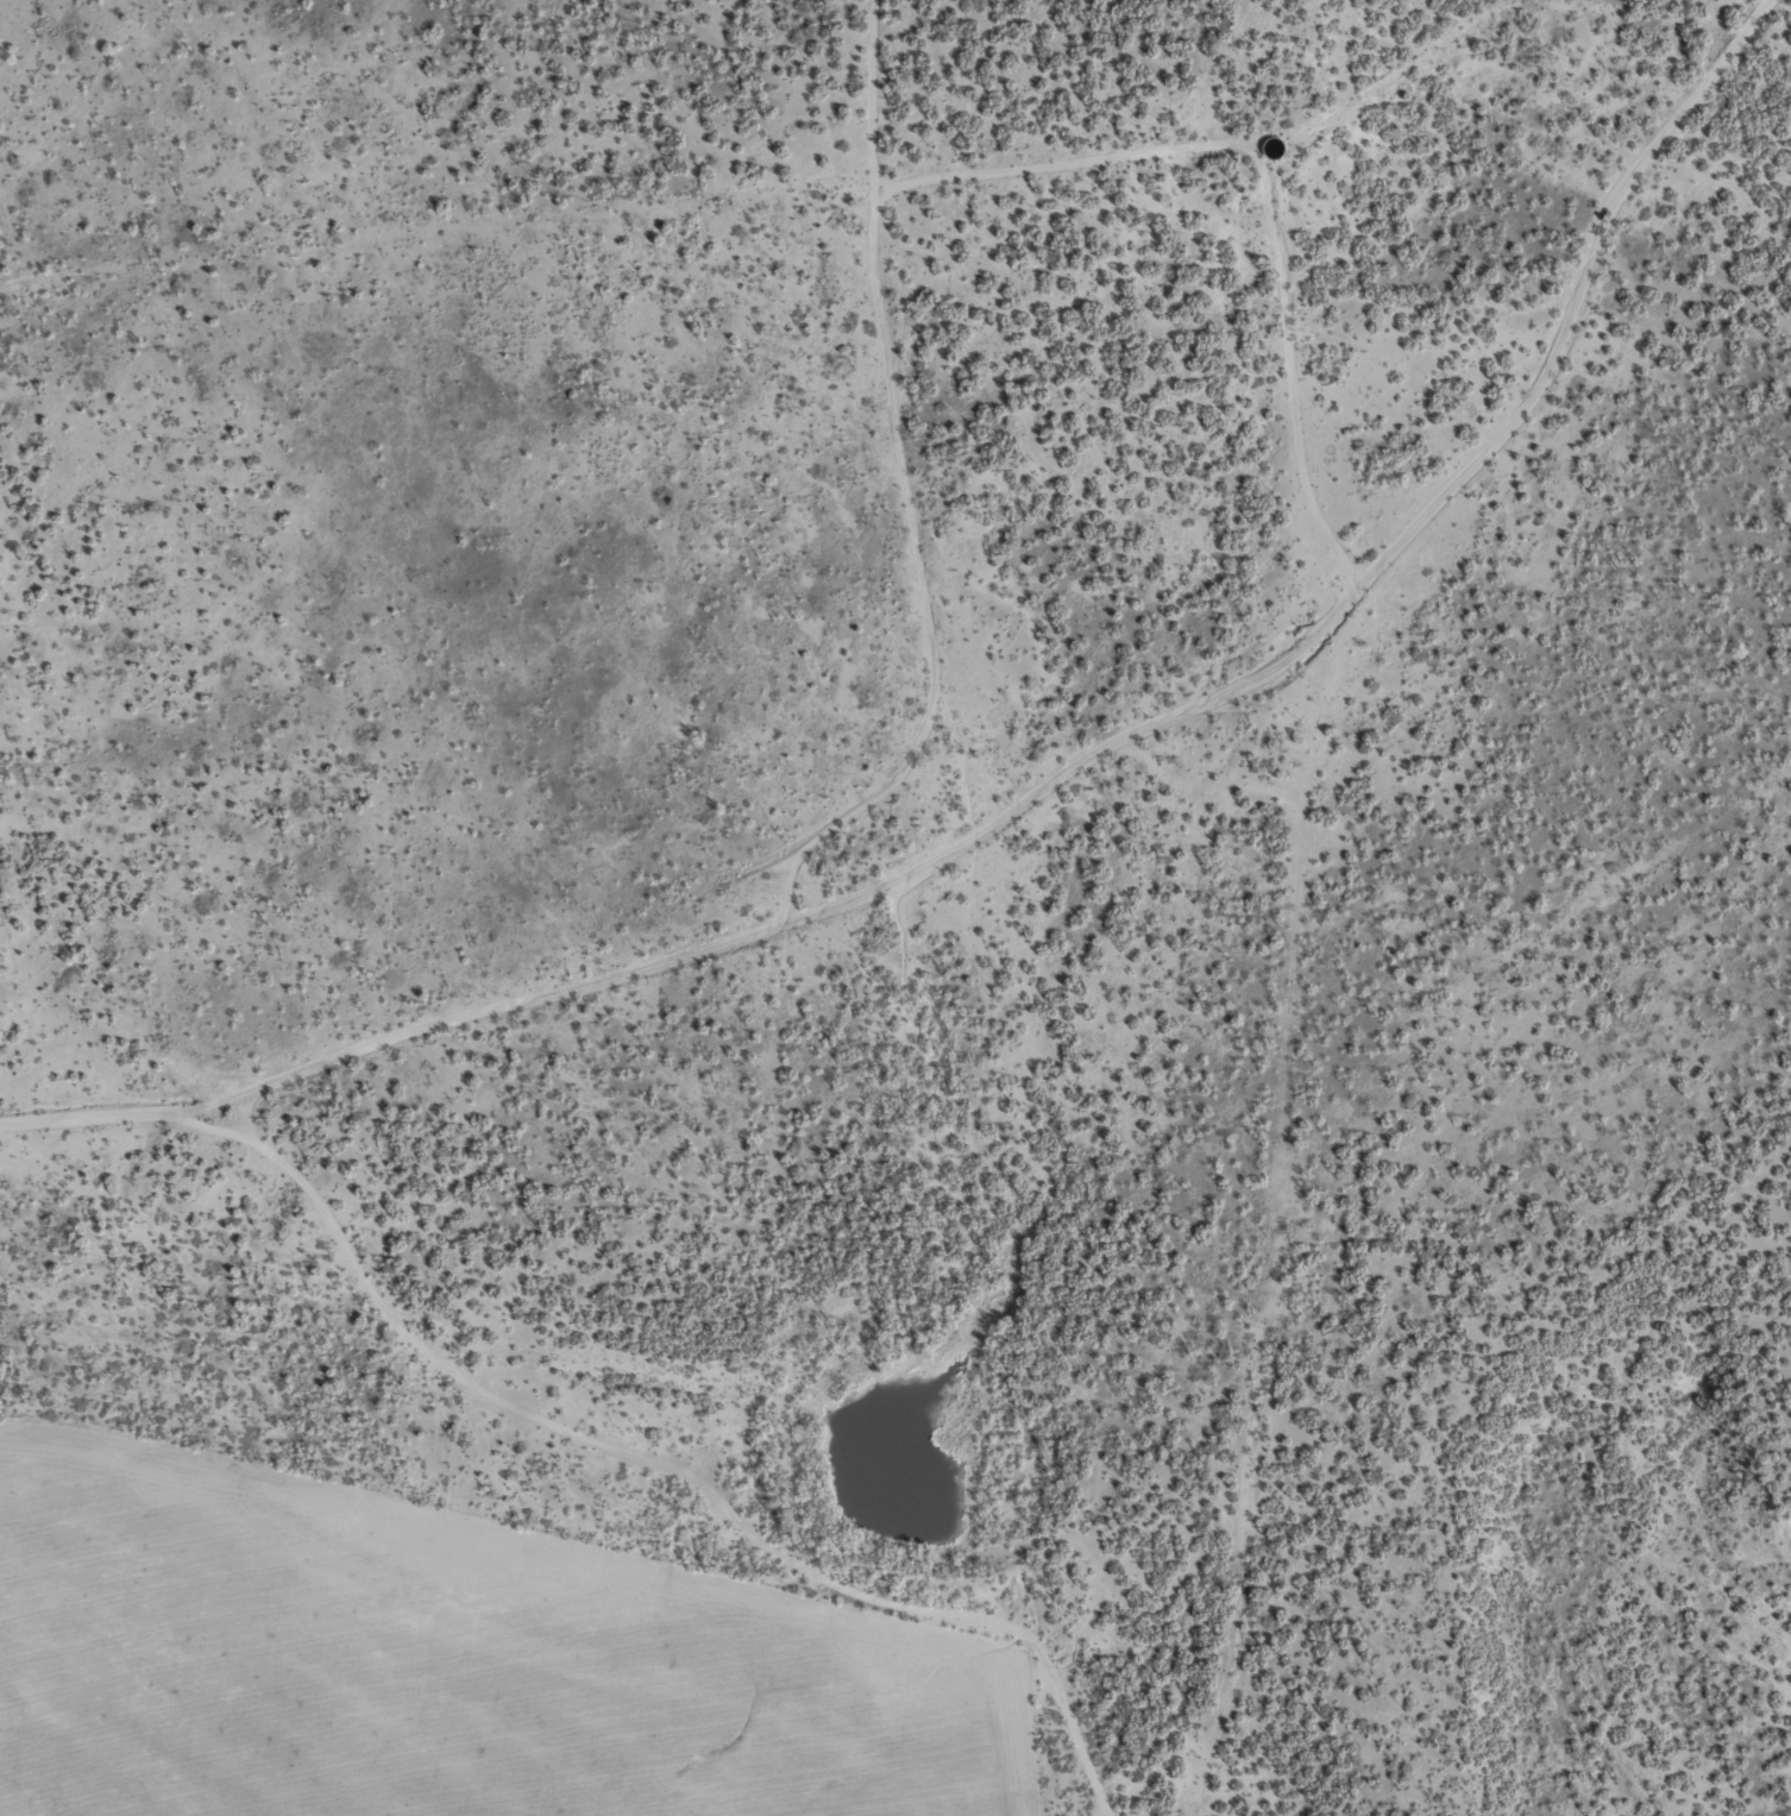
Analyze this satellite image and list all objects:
road: (884, 406)
road: (1032, 788)
road: (668, 1463)

